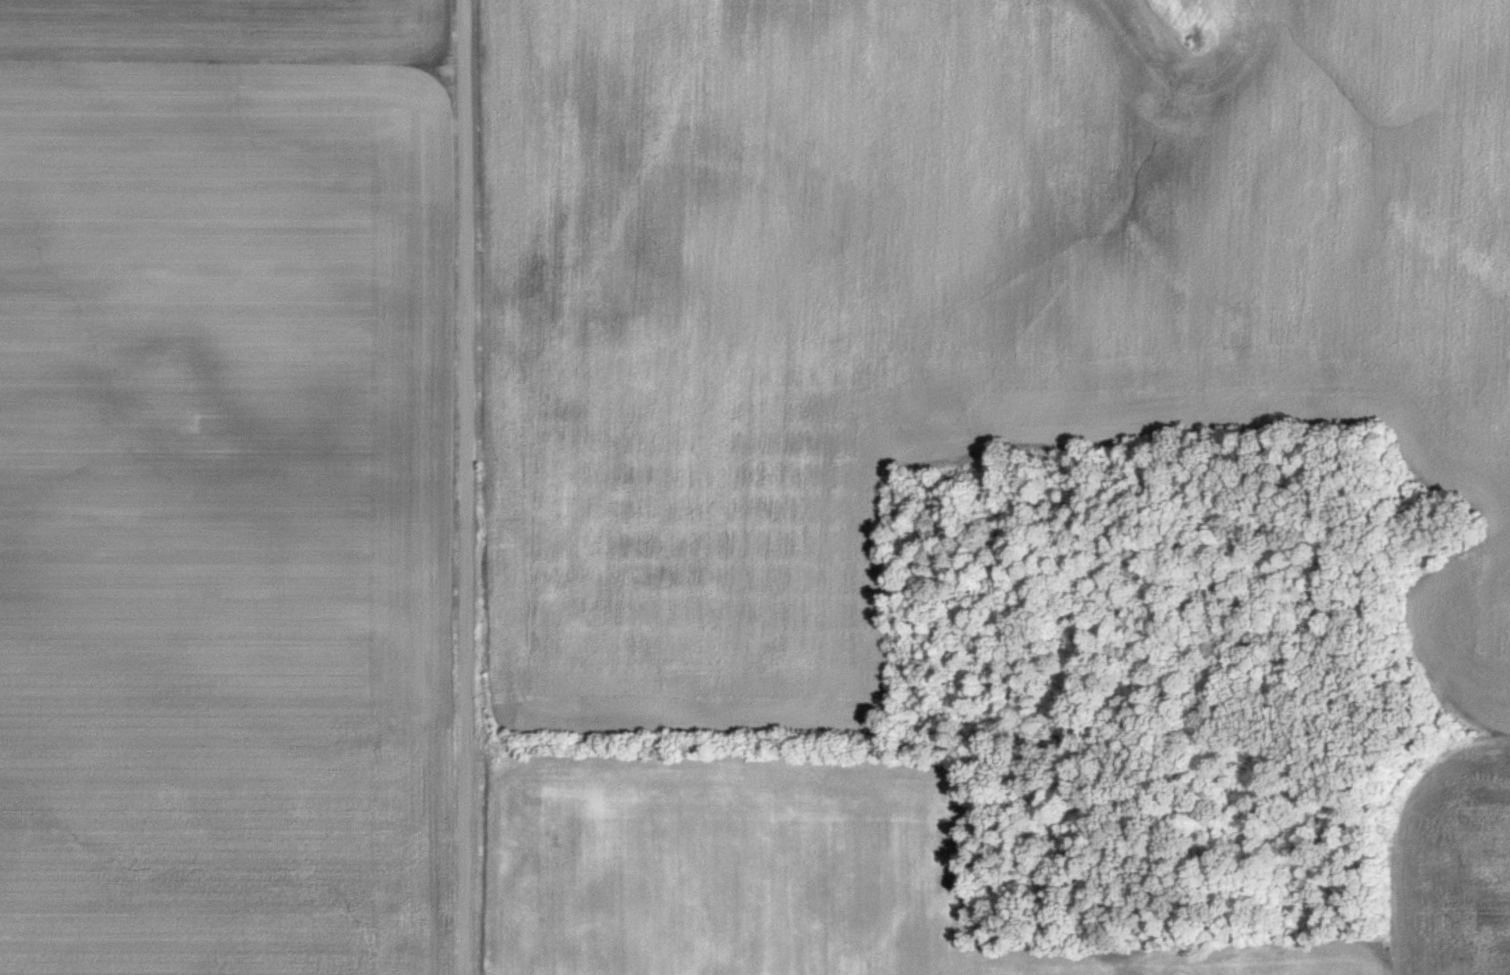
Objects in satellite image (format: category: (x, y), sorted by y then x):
crop: (222, 32)
crop: (962, 306)
road: (469, 487)
crop: (224, 520)
crop: (1450, 867)
crop: (773, 881)

